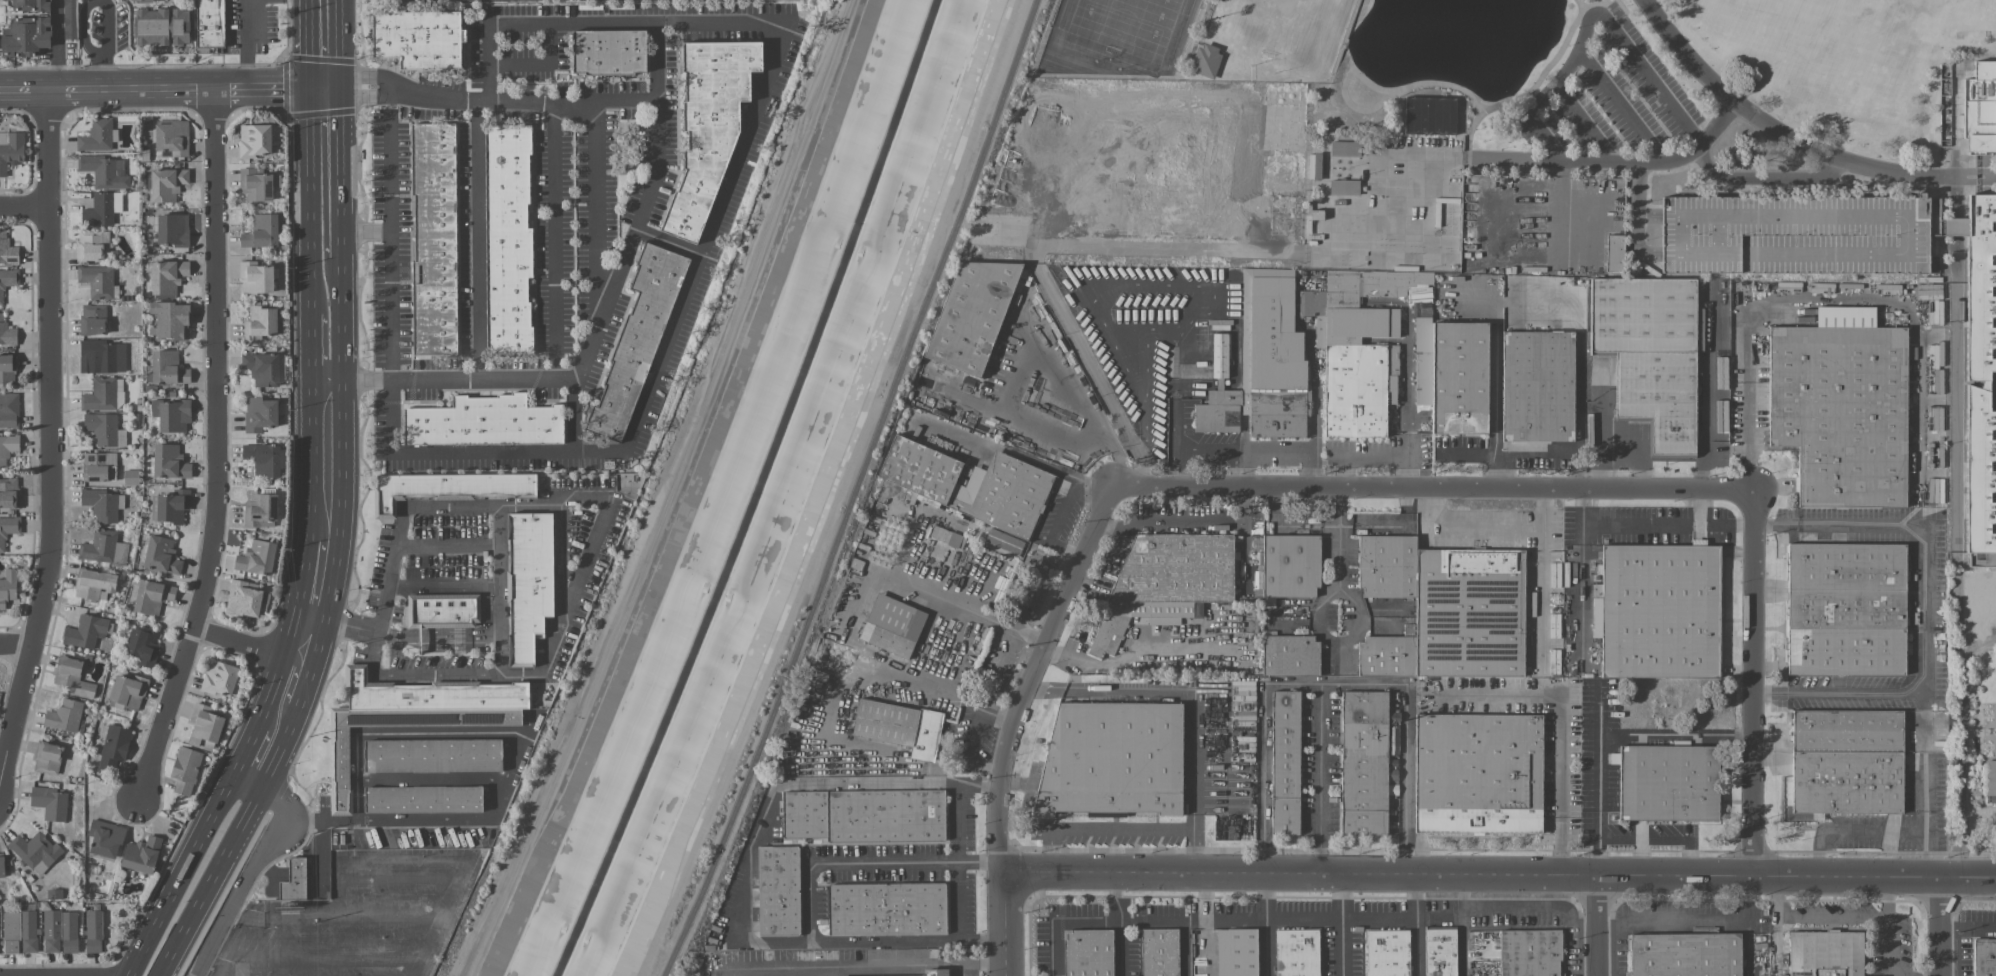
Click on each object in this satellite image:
building: (153, 0)
road: (1581, 3)
building: (31, 5)
road: (1622, 6)
park: (1733, 14)
road: (1595, 15)
building: (69, 19)
road: (571, 22)
building: (210, 23)
building: (162, 26)
park: (1129, 30)
park: (1285, 32)
building: (26, 36)
building: (418, 37)
road: (1346, 37)
road: (246, 44)
road: (310, 44)
road: (340, 44)
road: (56, 45)
road: (101, 45)
building: (608, 51)
building: (1207, 61)
road: (1109, 76)
road: (1535, 84)
traffic signals: (311, 89)
road: (326, 89)
traffic signals: (341, 89)
road: (155, 90)
road: (1380, 102)
road: (1624, 105)
building: (1980, 107)
building: (1430, 115)
road: (1587, 123)
building: (708, 126)
park: (1453, 127)
building: (97, 135)
road: (1786, 136)
building: (172, 137)
building: (254, 140)
building: (1344, 148)
building: (11, 149)
road: (1618, 162)
building: (104, 171)
road: (341, 172)
road: (1769, 179)
road: (1985, 179)
building: (167, 184)
building: (255, 185)
building: (1344, 187)
road: (313, 197)
road: (647, 201)
road: (593, 204)
building: (102, 208)
road: (1561, 208)
road: (25, 210)
road: (1650, 216)
road: (1639, 217)
building: (172, 230)
building: (261, 231)
building: (1794, 234)
parking garage: (1794, 234)
road: (390, 236)
building: (434, 238)
building: (507, 238)
road: (471, 239)
road: (668, 240)
road: (555, 243)
building: (92, 245)
building: (7, 250)
building: (1614, 253)
building: (167, 276)
building: (256, 277)
building: (8, 280)
building: (97, 280)
road: (1172, 287)
building: (1718, 292)
road: (1834, 307)
building: (972, 316)
building: (93, 319)
building: (171, 319)
building: (260, 322)
road: (673, 323)
building: (1699, 328)
building: (7, 332)
road: (1141, 340)
building: (1718, 341)
road: (315, 342)
building: (636, 342)
road: (1025, 353)
building: (1651, 353)
building: (102, 356)
building: (167, 367)
building: (7, 368)
building: (262, 368)
building: (1980, 374)
building: (1460, 378)
road: (330, 379)
road: (1405, 384)
building: (1538, 386)
building: (1356, 391)
building: (119, 393)
building: (100, 394)
building: (9, 409)
building: (1219, 412)
building: (1842, 412)
building: (1277, 413)
building: (171, 414)
building: (260, 414)
road: (578, 416)
building: (483, 421)
building: (105, 429)
road: (1706, 434)
road: (50, 436)
building: (7, 448)
road: (215, 450)
road: (1370, 456)
building: (263, 459)
road: (315, 459)
building: (170, 462)
road: (1045, 465)
building: (99, 466)
road: (1095, 482)
building: (1014, 486)
building: (447, 487)
road: (1433, 488)
road: (654, 489)
road: (859, 490)
building: (9, 492)
river: (756, 494)
road: (1698, 503)
building: (101, 504)
road: (486, 505)
building: (170, 506)
road: (1064, 508)
building: (260, 509)
road: (1276, 519)
road: (1197, 520)
road: (1655, 520)
road: (1470, 523)
road: (1399, 525)
building: (8, 529)
road: (596, 529)
road: (1338, 537)
road: (447, 545)
building: (1005, 545)
road: (1065, 550)
building: (161, 555)
building: (256, 557)
road: (1108, 558)
building: (1291, 565)
building: (1387, 566)
building: (1846, 566)
road: (890, 575)
road: (306, 576)
road: (1542, 576)
building: (528, 582)
building: (93, 583)
building: (1166, 583)
road: (444, 584)
building: (7, 587)
road: (499, 589)
building: (152, 596)
building: (244, 598)
road: (1955, 607)
building: (1846, 609)
building: (442, 610)
road: (1924, 610)
building: (1660, 611)
building: (1470, 612)
road: (313, 615)
road: (355, 624)
building: (893, 625)
building: (85, 631)
road: (323, 633)
road: (240, 643)
road: (15, 644)
building: (142, 646)
road: (1004, 650)
building: (1846, 651)
building: (1291, 655)
building: (1387, 656)
road: (280, 670)
road: (457, 673)
road: (917, 673)
road: (896, 675)
road: (1031, 675)
building: (72, 677)
building: (219, 678)
road: (1754, 682)
road: (1361, 684)
road: (289, 690)
building: (128, 691)
road: (1193, 699)
road: (1995, 709)
road: (1988, 710)
building: (64, 715)
road: (1560, 723)
road: (1980, 724)
road: (1995, 724)
building: (900, 726)
building: (204, 727)
building: (1848, 731)
road: (1974, 731)
fountain: (1995, 731)
road: (436, 732)
road: (976, 732)
road: (1626, 732)
road: (1990, 732)
road: (1995, 737)
road: (1988, 744)
building: (114, 746)
road: (1032, 747)
road: (1959, 747)
road: (1262, 750)
road: (1988, 750)
road: (249, 751)
building: (432, 755)
road: (1923, 755)
building: (47, 757)
building: (1114, 759)
building: (1287, 762)
road: (1976, 762)
building: (1365, 763)
building: (340, 769)
building: (185, 770)
building: (1478, 773)
road: (434, 775)
building: (1990, 777)
building: (1669, 782)
building: (1847, 782)
building: (423, 799)
building: (50, 802)
building: (865, 815)
road: (390, 818)
road: (1023, 820)
road: (1121, 827)
road: (1872, 831)
road: (1658, 838)
building: (105, 839)
road: (1049, 850)
building: (35, 851)
road: (409, 853)
building: (141, 854)
road: (1597, 855)
road: (1641, 856)
road: (865, 862)
road: (256, 865)
building: (1, 866)
road: (184, 875)
road: (1500, 875)
road: (403, 877)
road: (749, 878)
building: (293, 879)
building: (778, 891)
road: (1776, 895)
building: (887, 909)
road: (255, 914)
road: (1849, 915)
road: (395, 916)
road: (1336, 917)
road: (1059, 922)
road: (1693, 922)
road: (1005, 925)
road: (1205, 925)
road: (1265, 925)
road: (1341, 925)
road: (1417, 925)
road: (1462, 925)
road: (1597, 925)
road: (1941, 926)
road: (1969, 927)
building: (19, 931)
building: (60, 931)
building: (93, 931)
road: (981, 940)
road: (1777, 945)
road: (1886, 945)
road: (279, 946)
road: (1182, 947)
road: (1120, 949)
building: (1089, 952)
building: (1160, 952)
building: (1237, 952)
building: (1297, 952)
building: (1440, 952)
building: (1530, 952)
building: (1388, 953)
building: (1685, 954)
building: (1826, 954)
building: (1985, 957)
road: (353, 960)
road: (970, 965)
road: (838, 966)
building: (935, 972)

